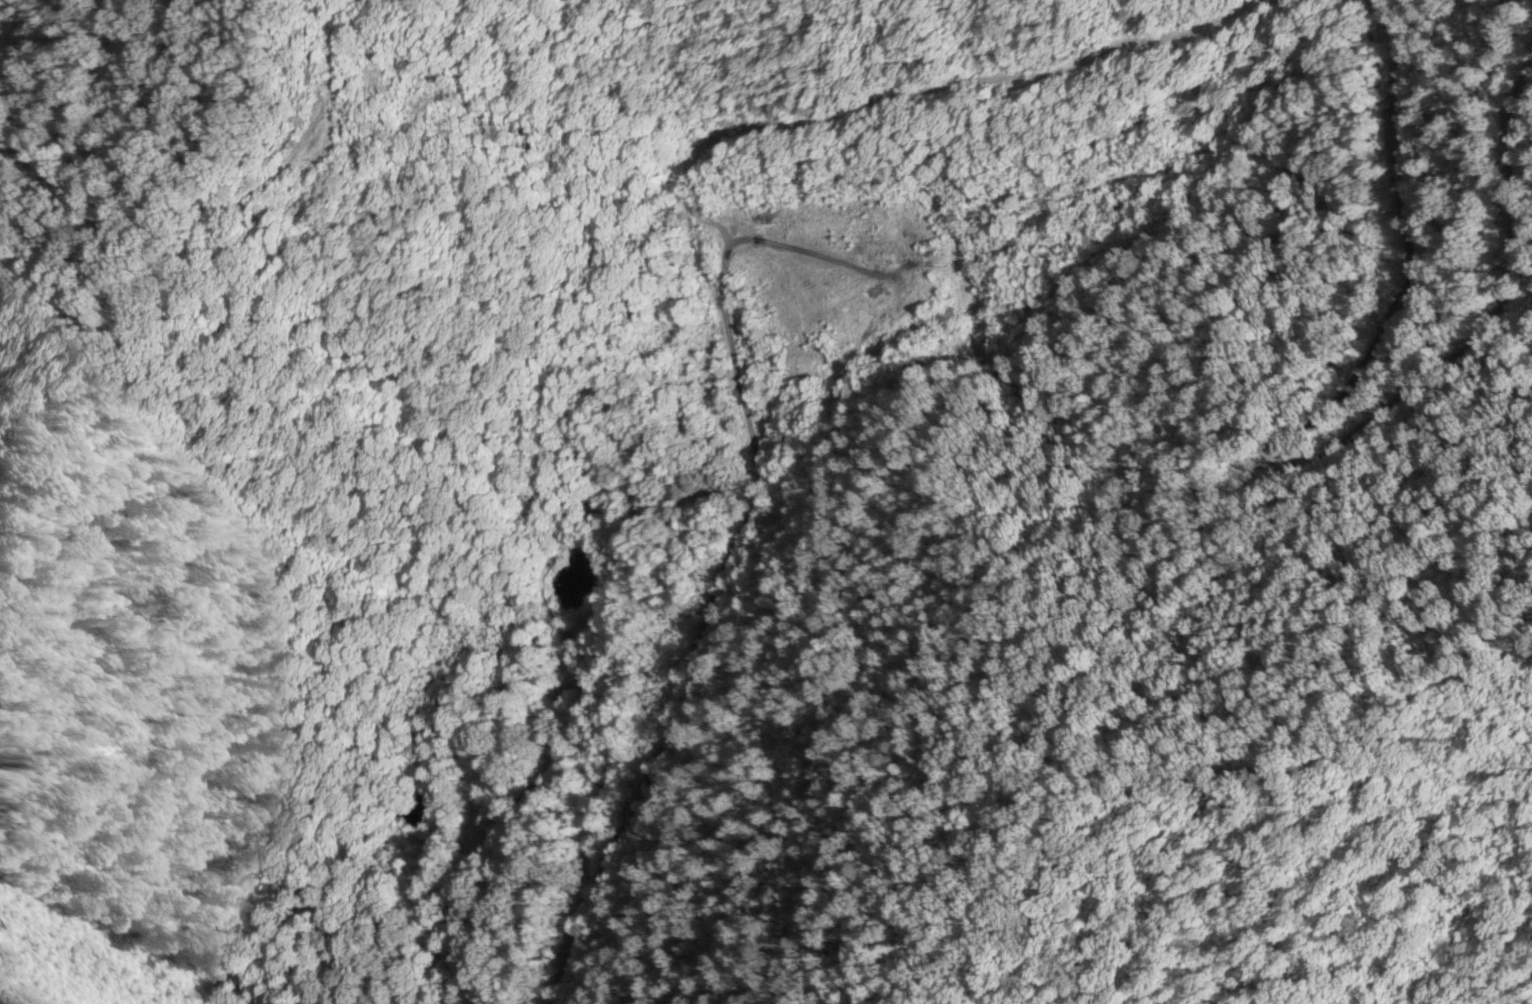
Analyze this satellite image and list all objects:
road: (892, 91)
road: (1310, 448)
road: (713, 606)

